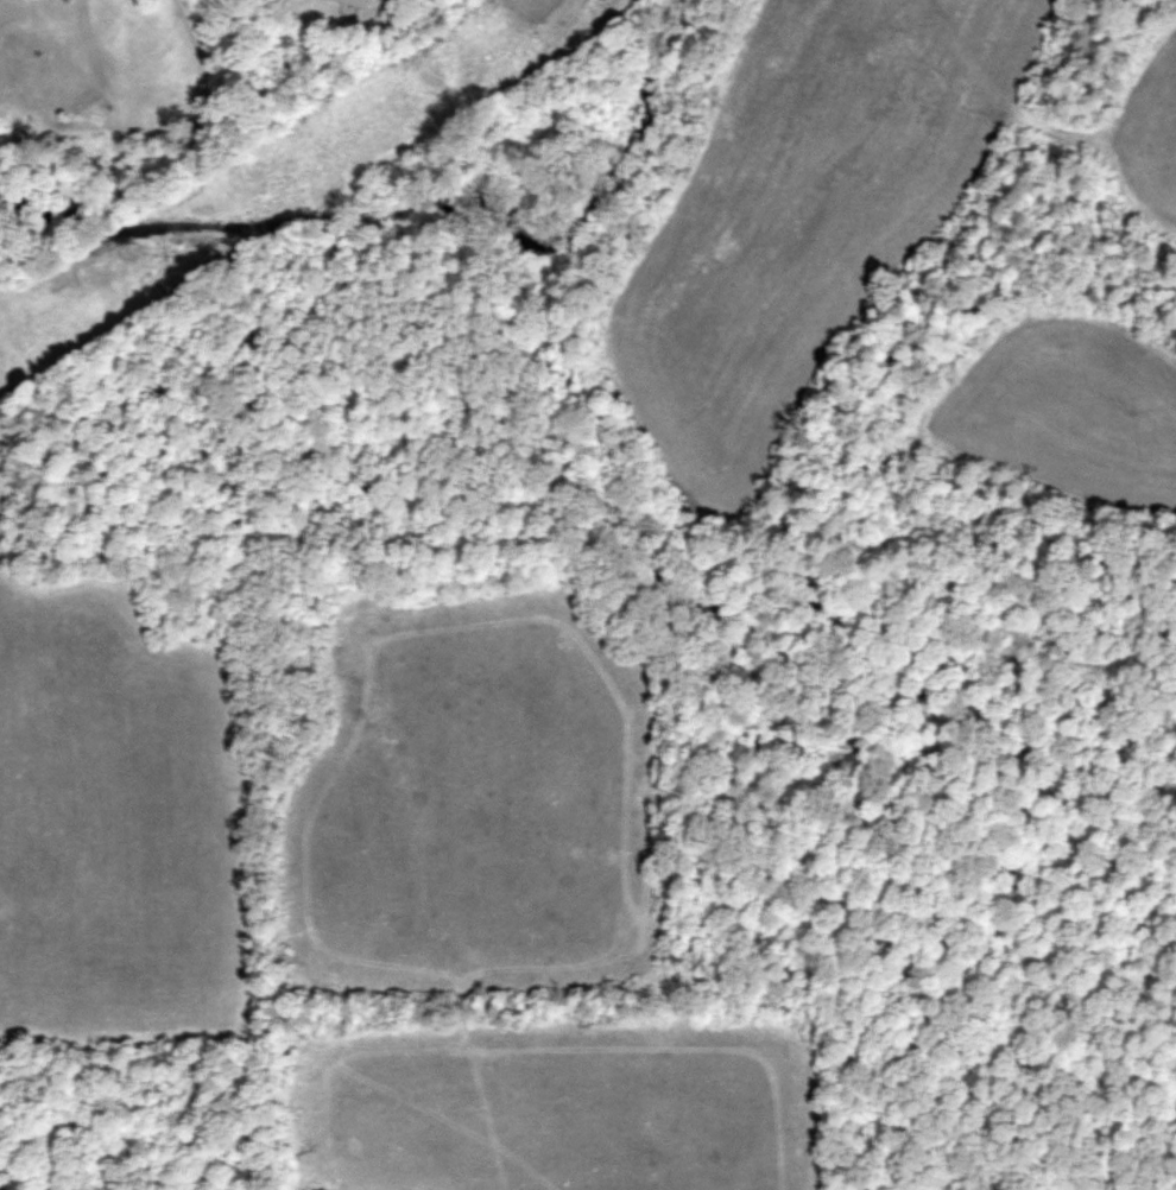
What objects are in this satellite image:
building: (353, 4)

